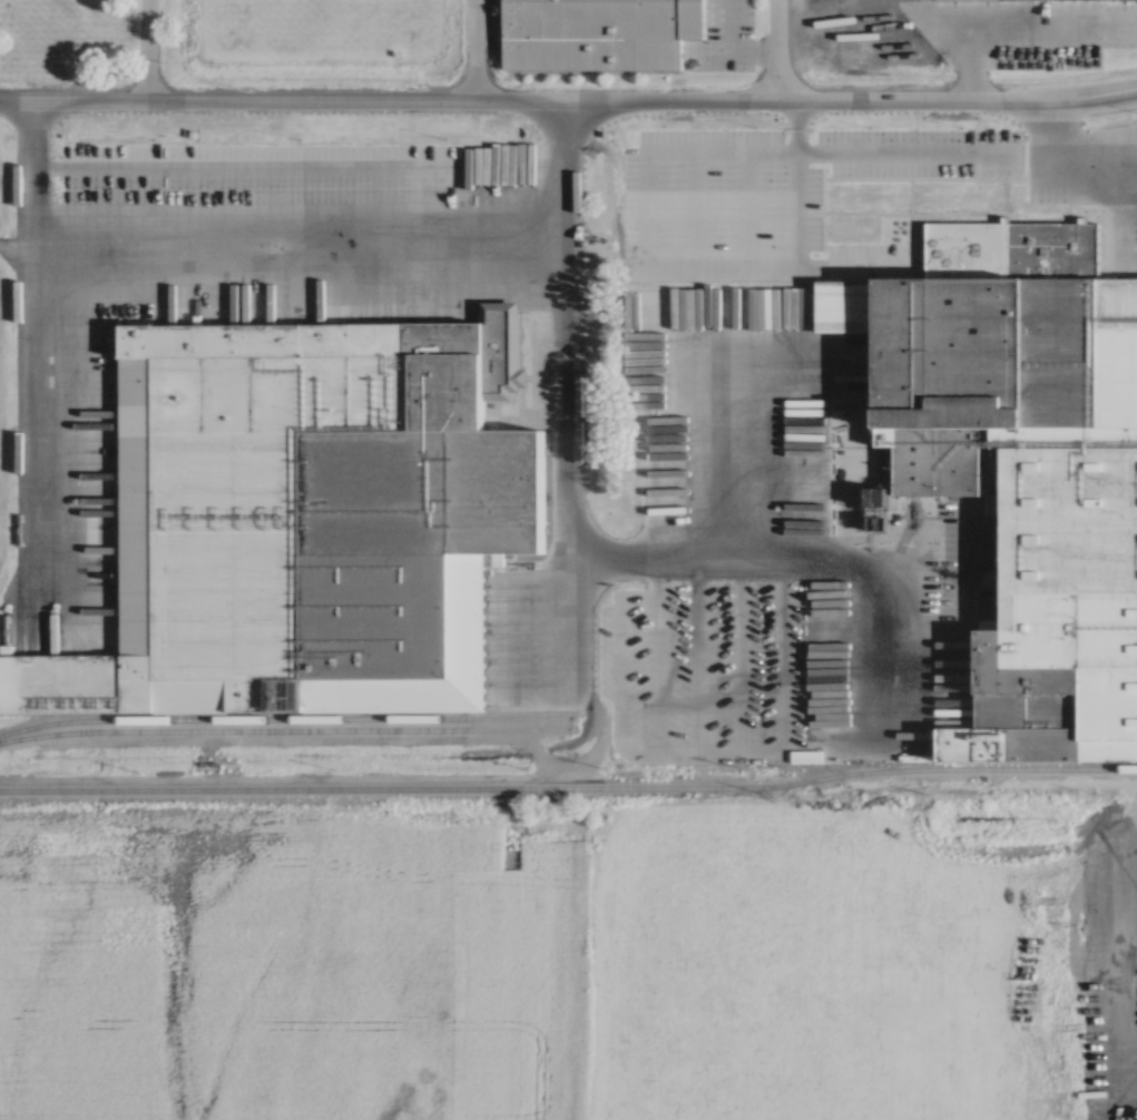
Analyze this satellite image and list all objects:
road: (1013, 22)
building: (597, 32)
road: (471, 50)
road: (775, 50)
road: (144, 52)
road: (568, 100)
road: (1069, 160)
road: (386, 177)
road: (794, 249)
road: (294, 253)
road: (29, 370)
road: (657, 370)
road: (561, 401)
building: (1021, 459)
building: (308, 518)
road: (859, 553)
railway: (284, 714)
road: (1125, 953)

